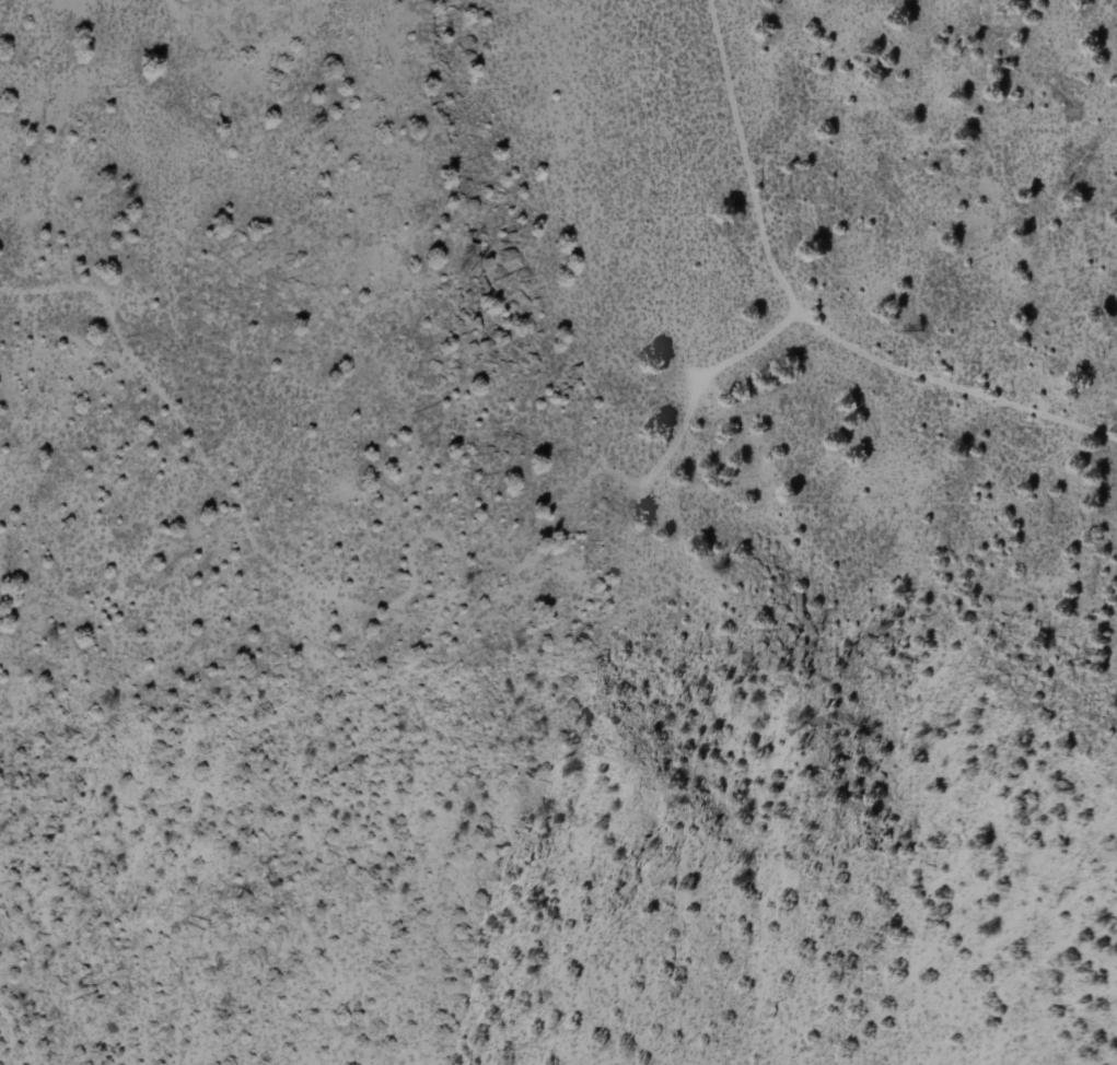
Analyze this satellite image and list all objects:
road: (810, 316)

